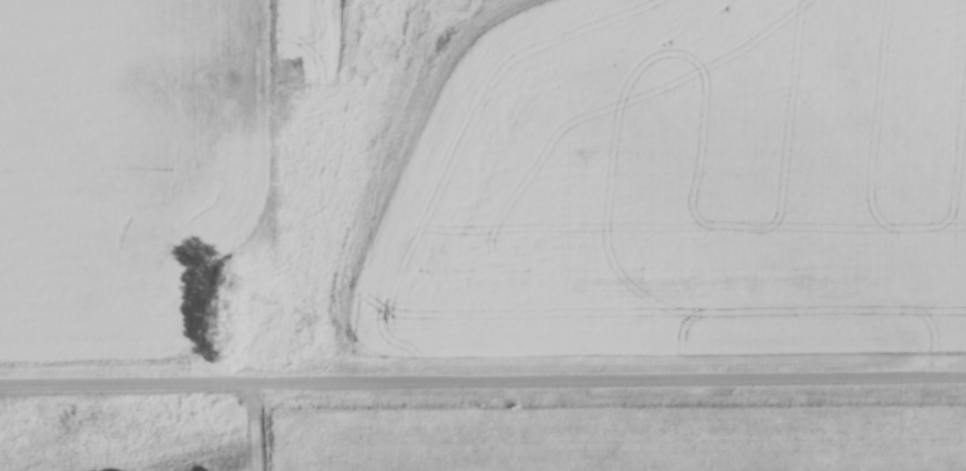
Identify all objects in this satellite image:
power tower: (268, 305)
road: (482, 376)

